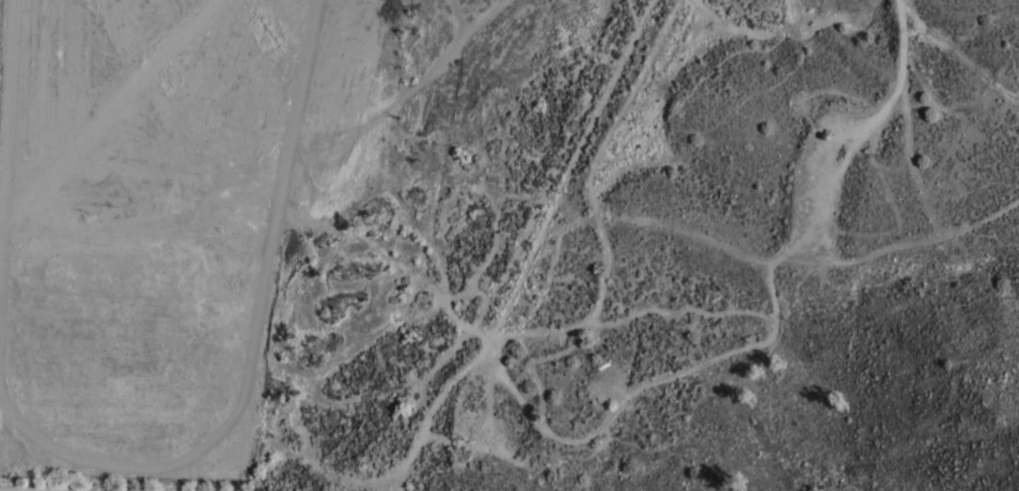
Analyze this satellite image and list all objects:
building: (240, 248)

